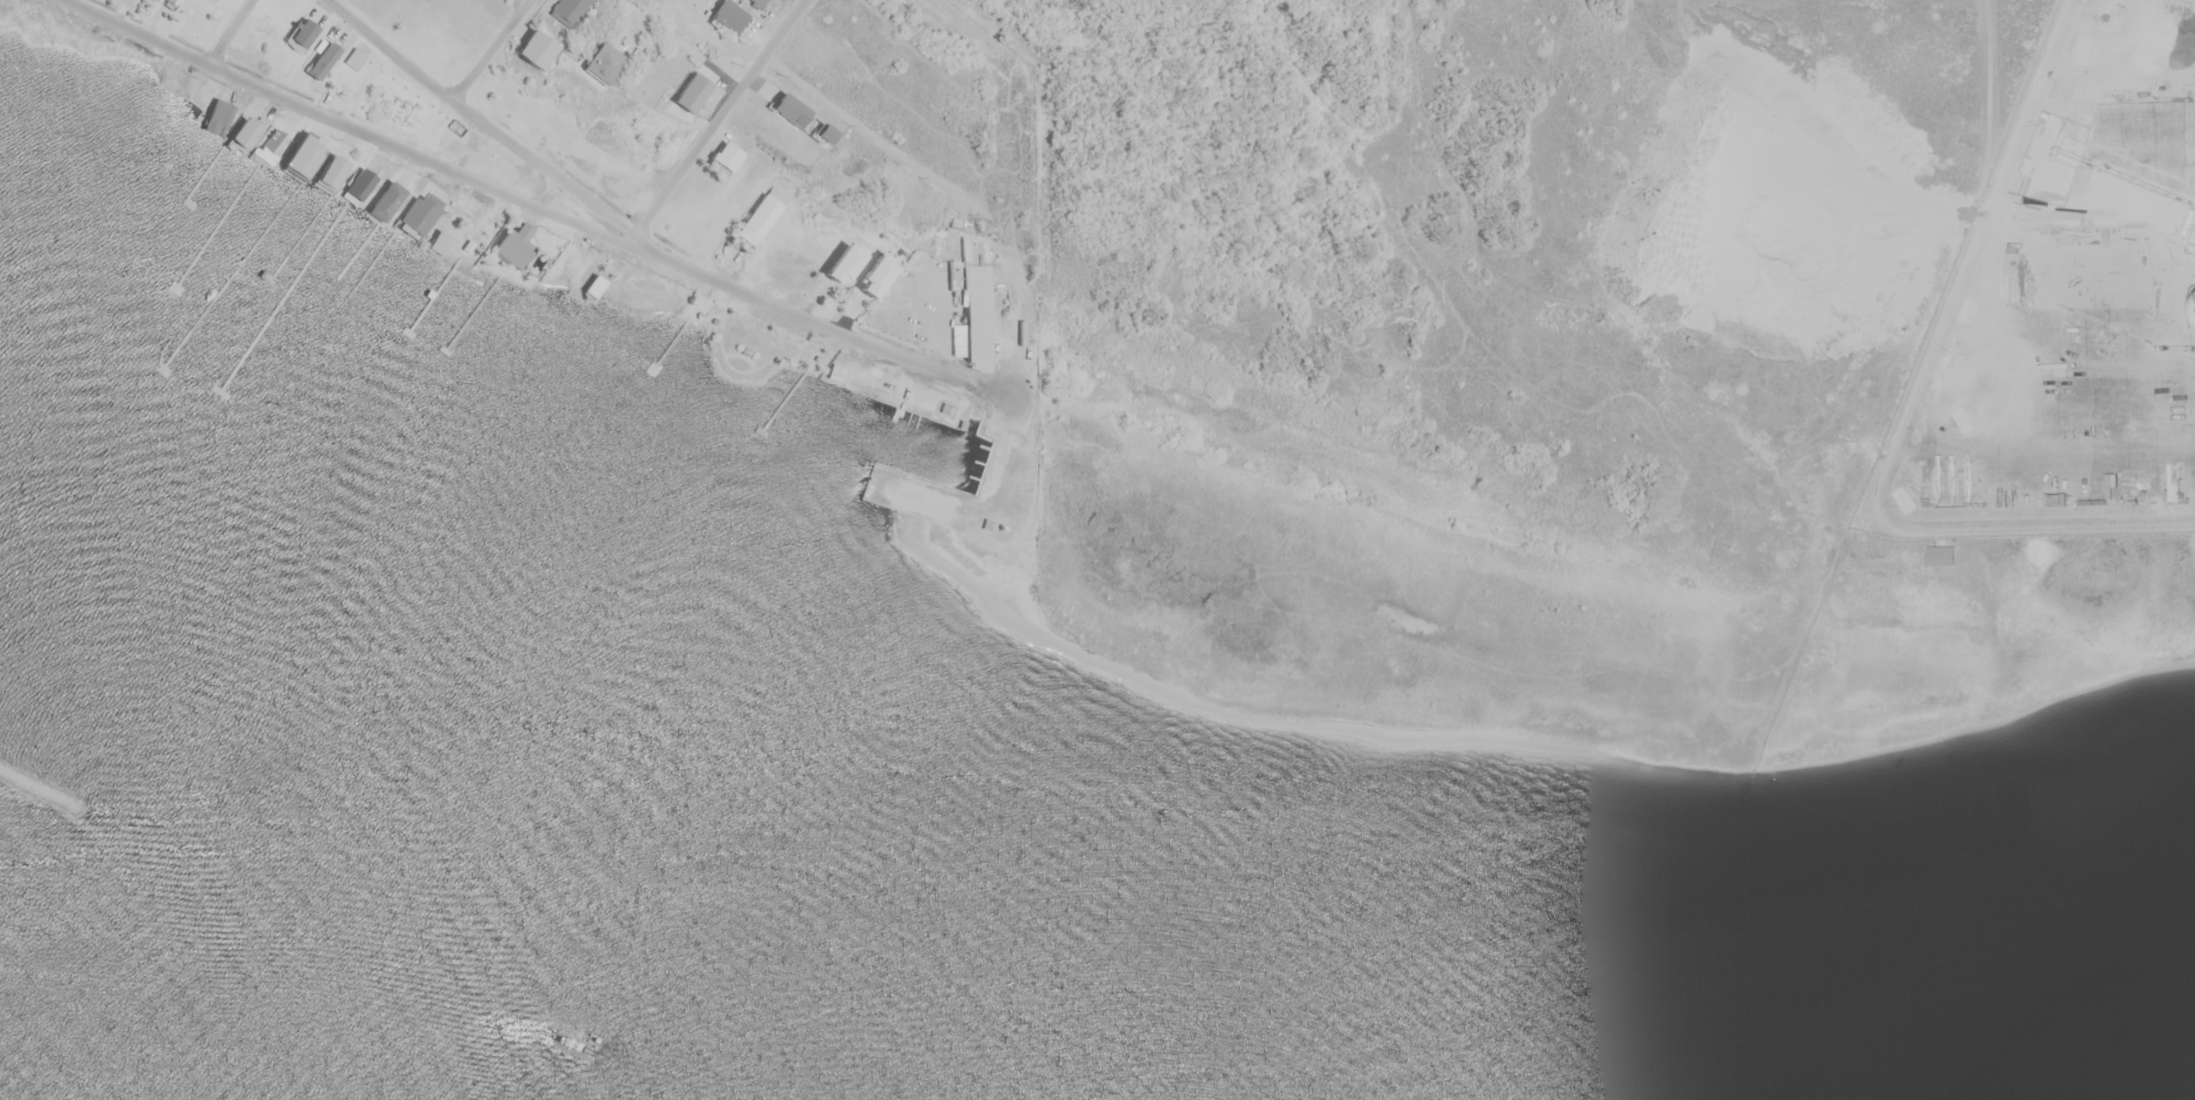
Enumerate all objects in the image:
building: (215, 0)
building: (172, 2)
building: (757, 2)
building: (569, 11)
building: (729, 15)
road: (230, 32)
building: (302, 33)
road: (488, 49)
building: (533, 49)
building: (322, 60)
building: (601, 63)
building: (351, 69)
building: (215, 116)
road: (719, 120)
road: (483, 122)
building: (243, 134)
building: (268, 151)
building: (301, 156)
building: (725, 157)
building: (330, 171)
building: (359, 186)
building: (386, 201)
road: (541, 203)
building: (419, 215)
building: (752, 226)
building: (438, 243)
building: (514, 243)
building: (842, 263)
building: (874, 277)
building: (594, 285)
building: (977, 300)
building: (1941, 554)

